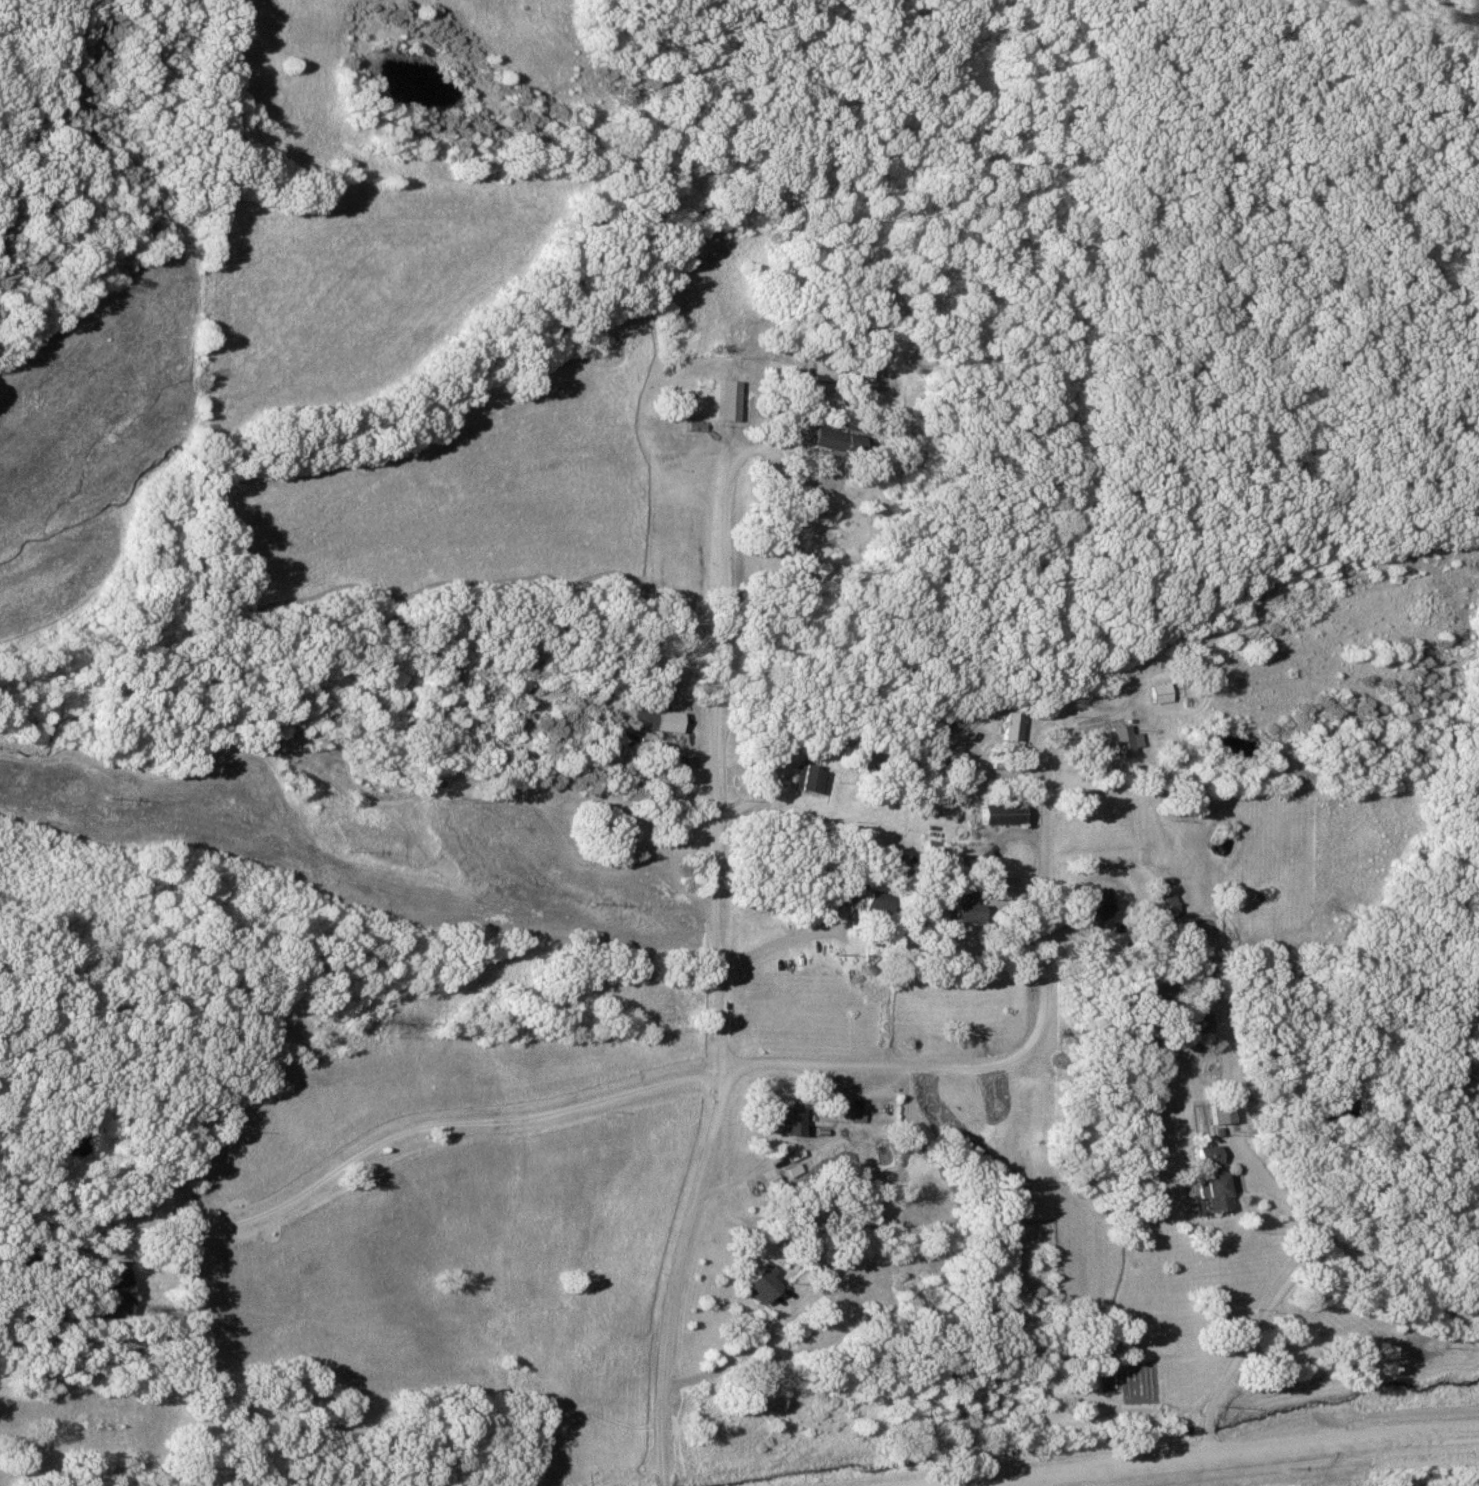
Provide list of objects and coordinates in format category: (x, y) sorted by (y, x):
building: (822, 371)
building: (710, 396)
building: (831, 404)
building: (831, 442)
building: (1158, 693)
building: (654, 720)
building: (1122, 741)
building: (813, 780)
road: (721, 781)
building: (996, 814)
building: (876, 903)
building: (1094, 903)
building: (1169, 906)
building: (962, 907)
road: (784, 941)
road: (916, 1065)
road: (722, 1076)
building: (786, 1122)
road: (397, 1133)
building: (1205, 1155)
building: (899, 1192)
building: (1209, 1193)
road: (671, 1284)
building: (755, 1285)
building: (112, 1286)
road: (1247, 1339)
road: (1218, 1457)

